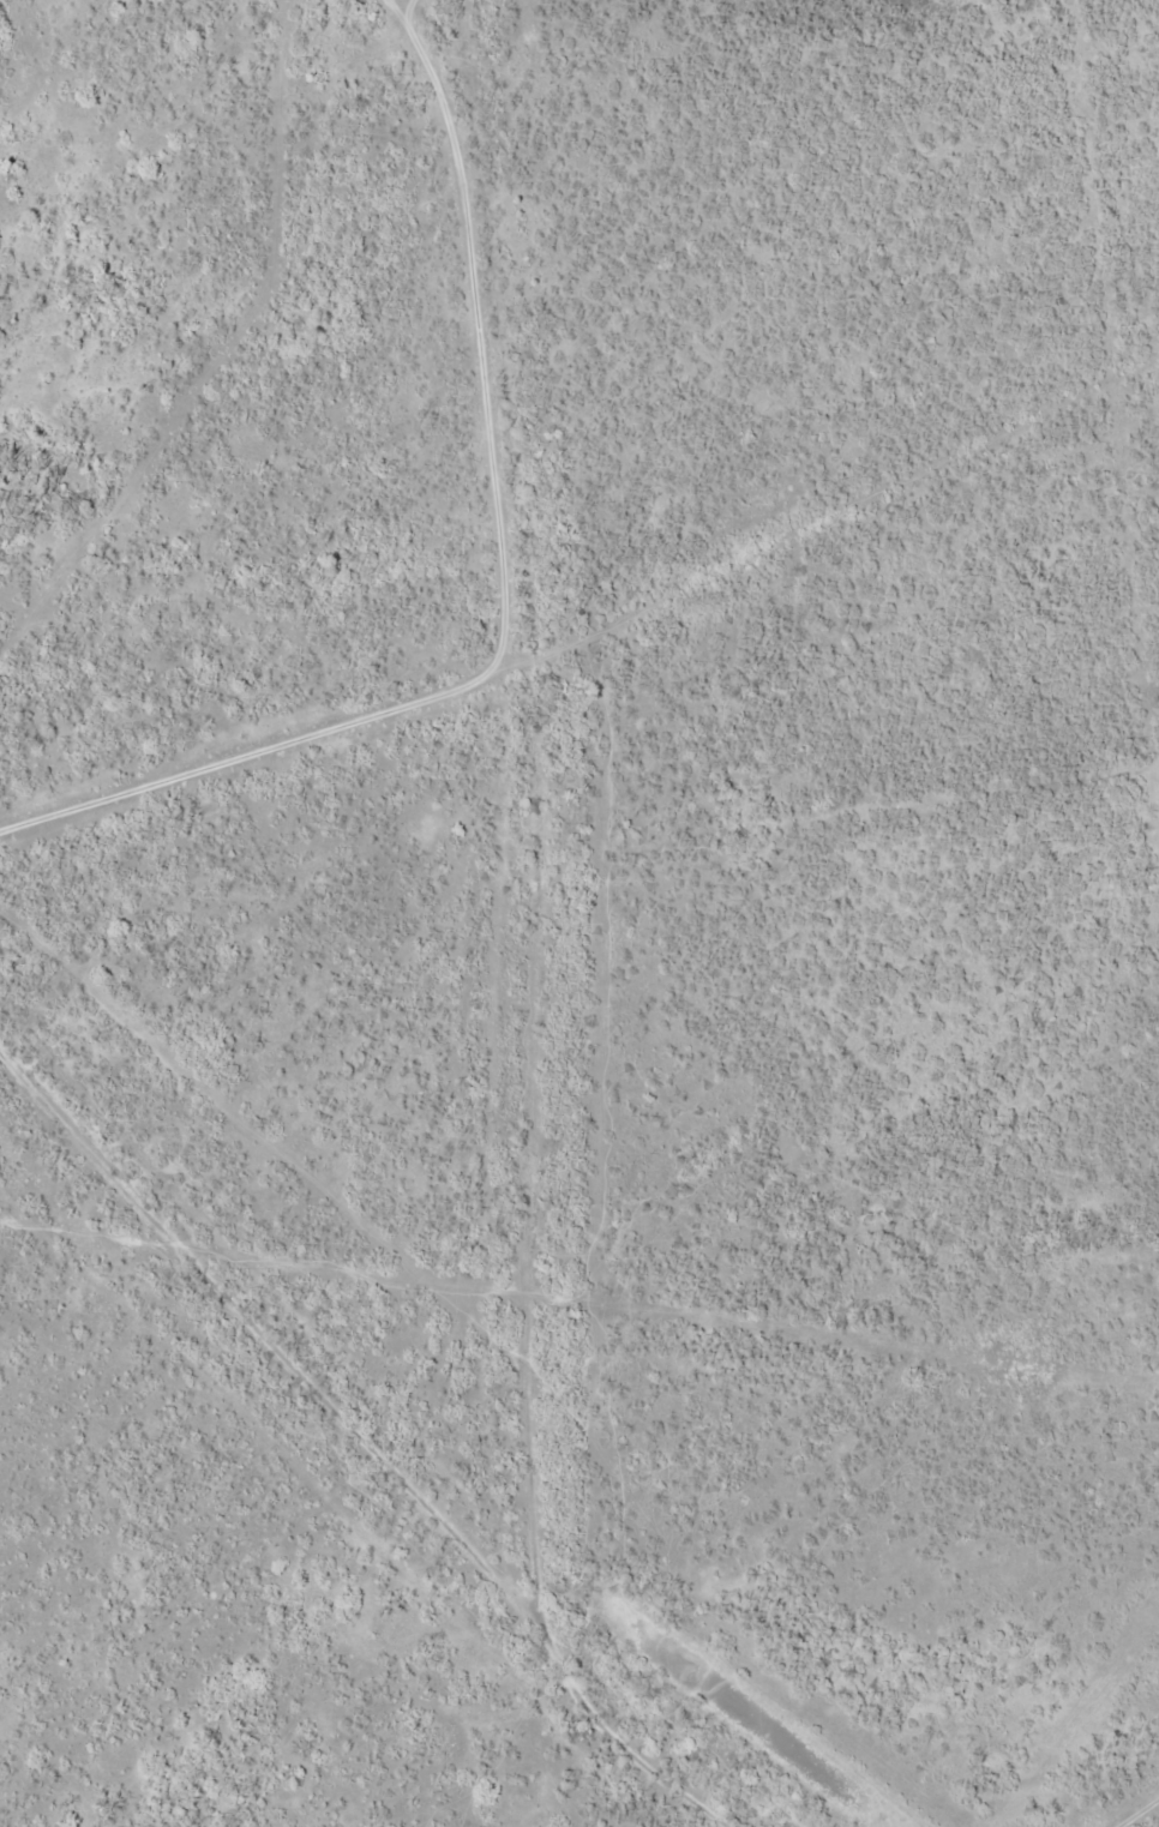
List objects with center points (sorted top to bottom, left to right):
road: (597, 626)

